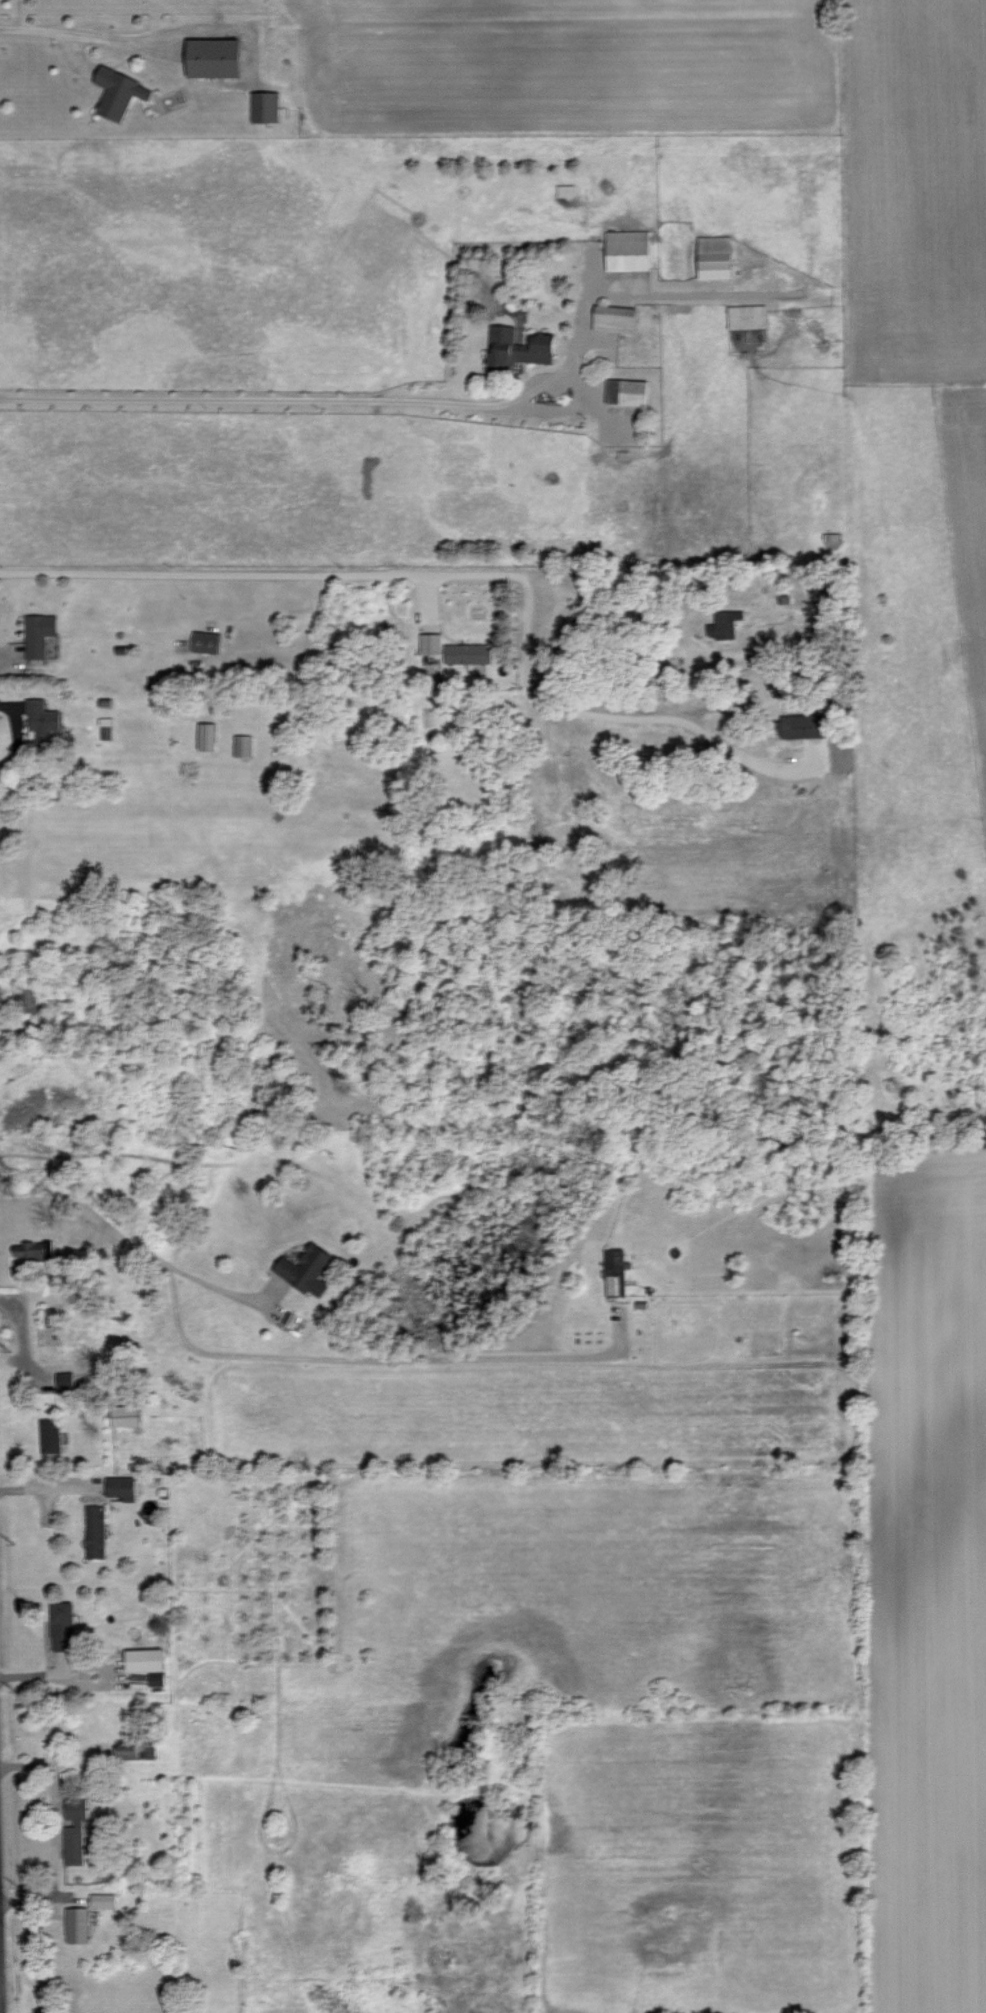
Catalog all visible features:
building: (214, 57)
building: (119, 93)
building: (266, 106)
building: (628, 250)
building: (715, 257)
road: (586, 314)
building: (748, 316)
building: (615, 318)
building: (518, 348)
road: (580, 389)
building: (627, 391)
road: (258, 398)
road: (266, 572)
road: (639, 618)
building: (724, 624)
building: (39, 634)
building: (206, 642)
building: (431, 643)
building: (469, 653)
road: (620, 718)
building: (43, 719)
building: (804, 725)
building: (208, 736)
building: (244, 745)
building: (31, 999)
building: (34, 1250)
building: (307, 1269)
building: (616, 1271)
building: (290, 1318)
road: (287, 1356)
building: (65, 1380)
building: (125, 1415)
building: (51, 1435)
building: (96, 1531)
building: (63, 1626)
building: (146, 1659)
building: (129, 1749)
building: (75, 1828)
building: (104, 1900)
building: (78, 1924)

